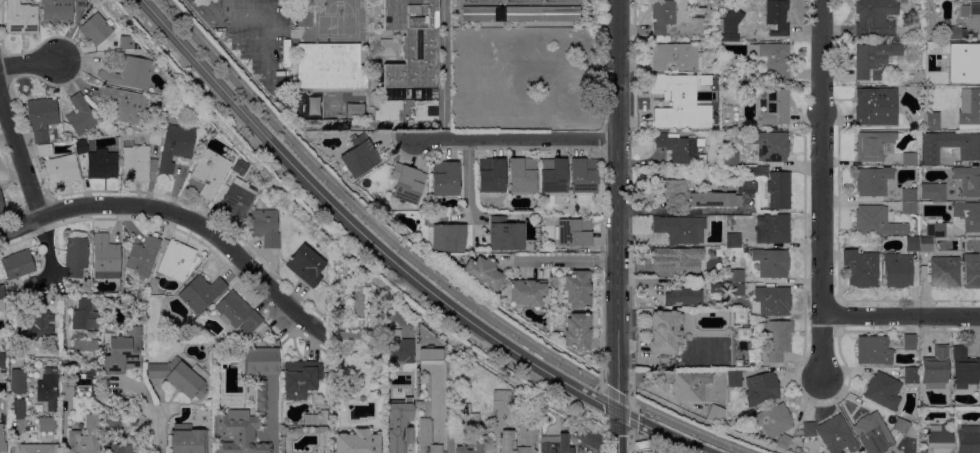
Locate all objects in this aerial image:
building: (478, 2)
building: (750, 3)
park: (339, 6)
building: (698, 7)
building: (57, 12)
building: (304, 13)
building: (480, 14)
building: (541, 14)
building: (971, 14)
building: (662, 15)
road: (256, 16)
building: (21, 17)
building: (711, 17)
building: (777, 17)
building: (875, 17)
building: (731, 21)
building: (95, 29)
building: (954, 33)
building: (730, 37)
building: (125, 42)
building: (412, 43)
building: (706, 45)
building: (534, 54)
building: (969, 54)
building: (676, 57)
building: (773, 58)
building: (874, 59)
road: (32, 65)
building: (330, 66)
building: (128, 72)
building: (563, 77)
building: (959, 77)
building: (940, 80)
building: (927, 82)
building: (678, 84)
building: (711, 84)
building: (778, 102)
building: (125, 104)
building: (876, 106)
building: (969, 107)
building: (387, 110)
building: (424, 110)
building: (80, 115)
building: (42, 118)
building: (932, 121)
building: (707, 122)
building: (155, 137)
road: (504, 139)
building: (80, 146)
building: (175, 146)
building: (771, 146)
building: (874, 146)
building: (949, 146)
building: (681, 149)
building: (44, 150)
road: (20, 156)
building: (358, 157)
building: (731, 159)
building: (909, 159)
building: (136, 162)
building: (102, 164)
building: (240, 167)
building: (62, 170)
building: (755, 172)
building: (210, 173)
building: (491, 175)
building: (553, 175)
building: (522, 176)
building: (584, 176)
building: (445, 179)
building: (873, 181)
building: (968, 181)
building: (407, 183)
building: (747, 186)
building: (778, 190)
road: (822, 190)
building: (933, 192)
building: (697, 195)
building: (908, 195)
building: (237, 198)
building: (1, 205)
building: (908, 208)
road: (364, 213)
road: (179, 215)
building: (966, 216)
building: (876, 222)
building: (265, 225)
road: (617, 226)
building: (773, 228)
building: (935, 228)
building: (680, 229)
building: (573, 232)
building: (505, 234)
building: (446, 238)
building: (733, 240)
building: (912, 244)
building: (926, 245)
building: (528, 246)
building: (76, 253)
building: (143, 256)
building: (106, 257)
building: (175, 260)
road: (558, 260)
building: (678, 262)
building: (771, 263)
building: (18, 265)
building: (306, 265)
building: (861, 268)
building: (897, 270)
building: (944, 271)
building: (971, 271)
building: (483, 273)
building: (737, 276)
building: (153, 284)
building: (30, 285)
building: (43, 289)
building: (718, 289)
building: (577, 290)
building: (737, 290)
building: (201, 293)
building: (527, 293)
building: (683, 296)
building: (771, 301)
building: (2, 303)
building: (107, 303)
building: (238, 313)
building: (84, 315)
road: (902, 316)
building: (41, 325)
building: (578, 331)
building: (665, 332)
building: (351, 337)
building: (778, 339)
building: (909, 342)
building: (85, 345)
building: (399, 348)
building: (873, 350)
building: (122, 352)
building: (431, 356)
building: (1, 359)
building: (262, 361)
building: (700, 363)
building: (936, 368)
building: (964, 368)
building: (911, 376)
building: (180, 377)
building: (300, 378)
building: (734, 379)
building: (18, 381)
building: (390, 384)
building: (690, 385)
building: (48, 389)
building: (761, 389)
building: (66, 390)
building: (883, 391)
building: (392, 394)
road: (615, 394)
building: (501, 396)
building: (419, 403)
building: (17, 408)
building: (453, 408)
traffic signals: (617, 412)
road: (631, 413)
building: (715, 414)
building: (951, 417)
building: (313, 418)
building: (771, 420)
building: (114, 423)
building: (48, 426)
building: (902, 426)
building: (395, 428)
road: (688, 429)
building: (873, 431)
building: (240, 432)
road: (12, 434)
building: (831, 434)
road: (160, 435)
building: (85, 437)
building: (585, 437)
building: (111, 438)
building: (427, 438)
building: (527, 438)
building: (938, 439)
building: (968, 439)
building: (188, 440)
building: (2, 441)
road: (629, 441)
building: (783, 441)
building: (358, 442)
building: (555, 444)
building: (37, 448)
building: (122, 448)
building: (460, 448)
building: (797, 450)

